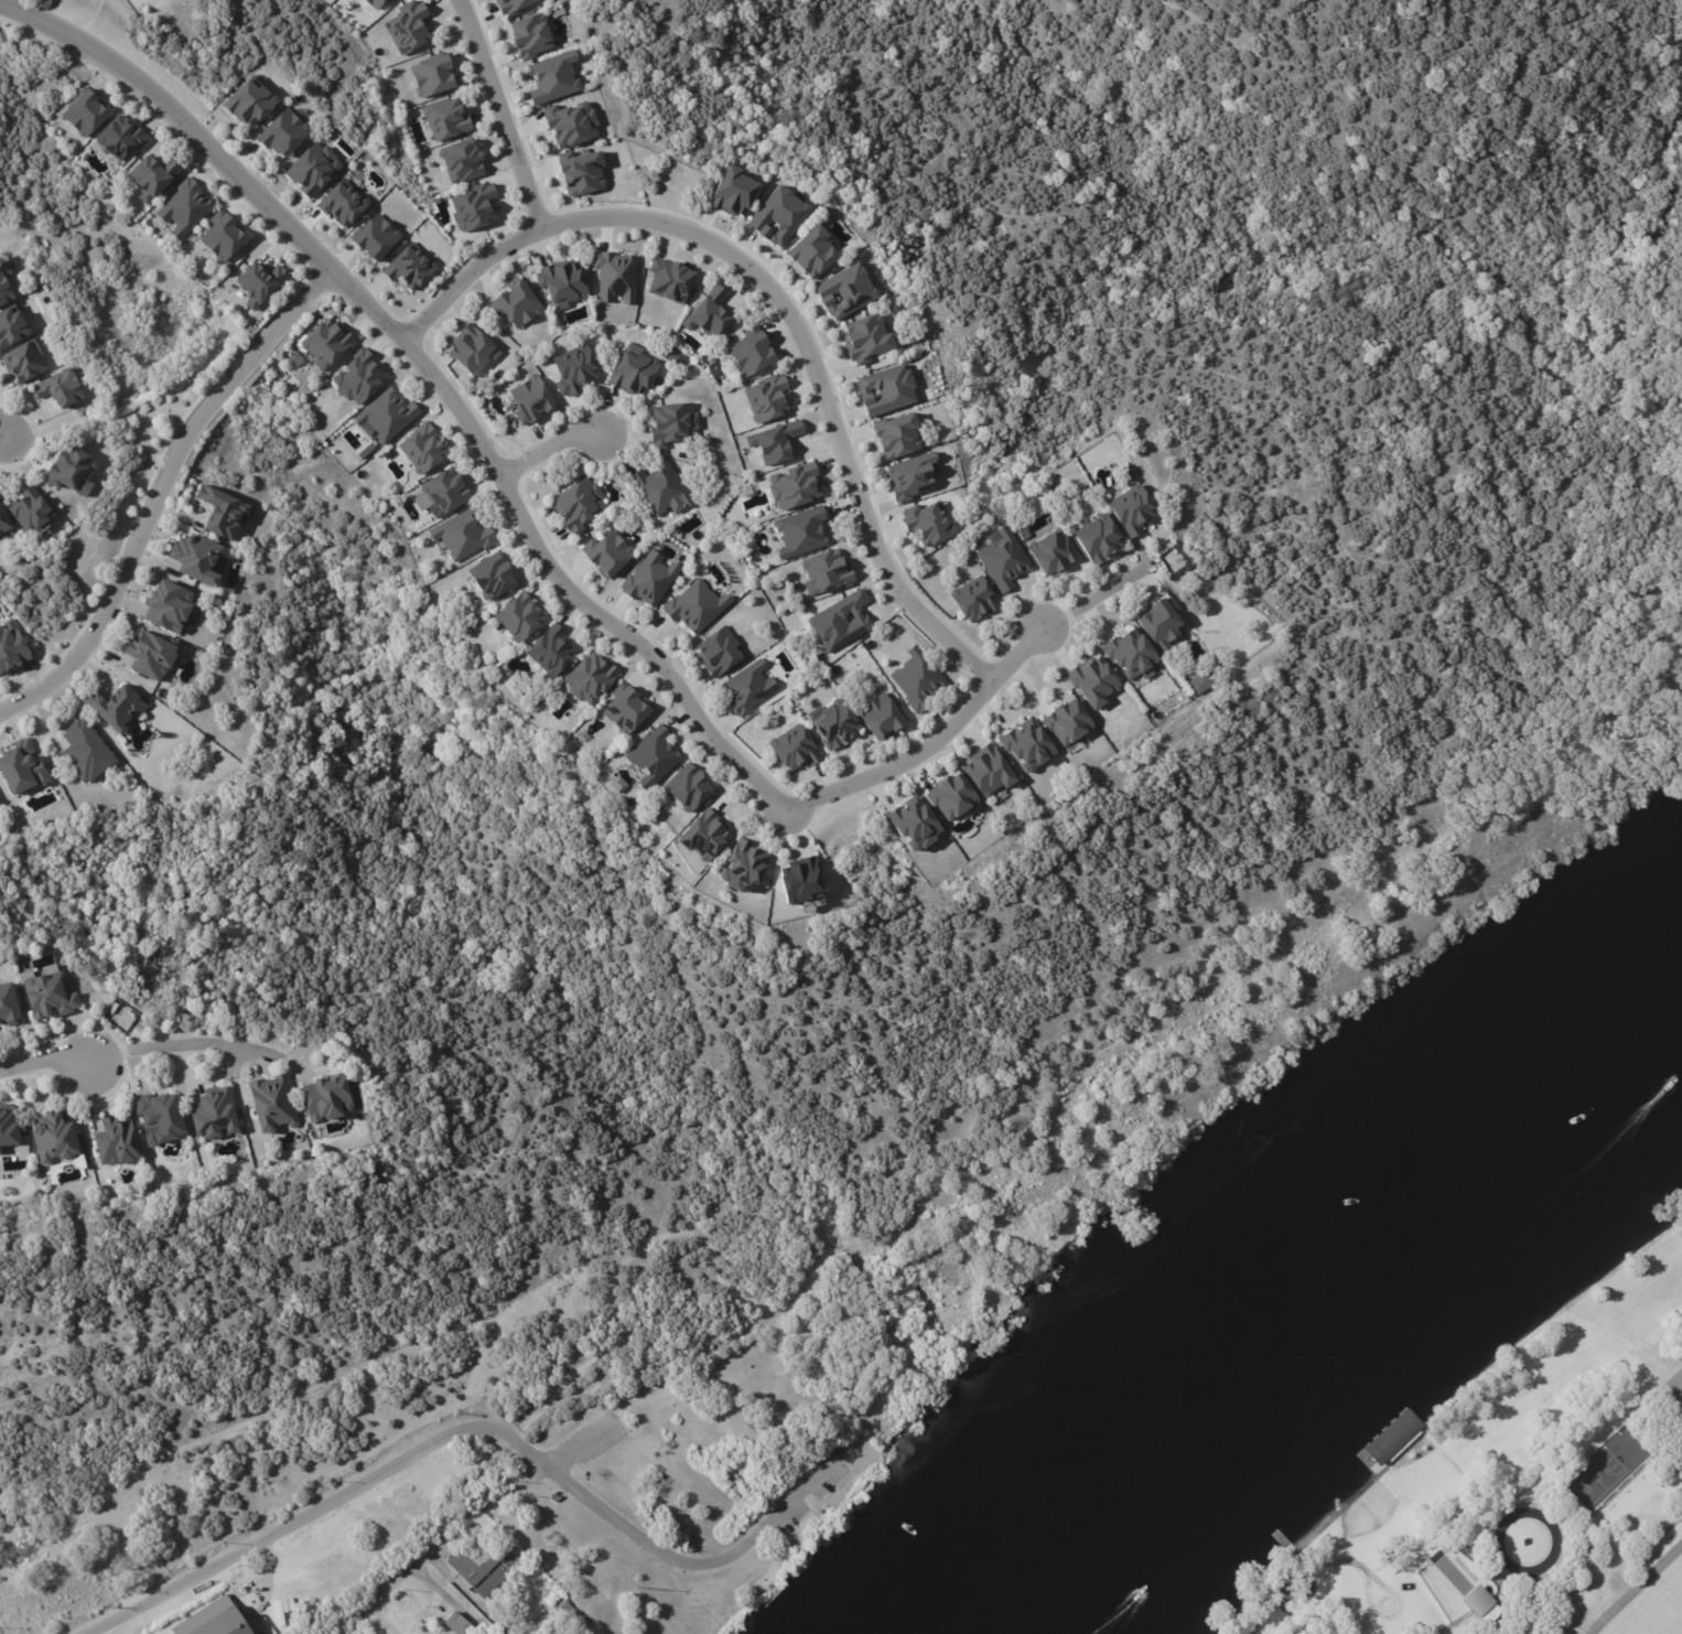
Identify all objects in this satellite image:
building: (375, 3)
building: (513, 4)
building: (408, 26)
building: (529, 35)
building: (3, 37)
building: (431, 75)
building: (552, 77)
building: (247, 99)
building: (84, 112)
road: (500, 112)
building: (445, 118)
building: (570, 122)
building: (282, 132)
building: (121, 136)
building: (461, 160)
building: (312, 166)
building: (578, 170)
building: (153, 173)
building: (732, 191)
building: (341, 202)
building: (183, 204)
building: (473, 206)
building: (777, 215)
building: (373, 236)
building: (222, 237)
building: (811, 252)
building: (414, 266)
building: (613, 275)
building: (668, 279)
building: (561, 281)
building: (258, 283)
building: (4, 286)
building: (843, 291)
road: (778, 301)
building: (515, 303)
building: (708, 314)
building: (12, 326)
building: (866, 340)
building: (325, 345)
building: (471, 351)
building: (750, 352)
building: (24, 361)
building: (574, 370)
building: (633, 372)
building: (358, 377)
building: (61, 387)
building: (884, 389)
building: (765, 398)
building: (529, 400)
building: (386, 416)
building: (672, 424)
road: (4, 437)
building: (896, 437)
building: (773, 441)
building: (421, 449)
road: (546, 450)
building: (72, 467)
building: (909, 476)
building: (793, 485)
building: (660, 490)
building: (442, 491)
road: (159, 492)
building: (0, 499)
building: (578, 505)
building: (31, 508)
building: (1132, 512)
building: (220, 513)
road: (517, 519)
building: (3, 520)
building: (929, 525)
building: (799, 531)
building: (461, 534)
building: (1099, 540)
building: (607, 555)
building: (1053, 555)
building: (1171, 557)
building: (195, 559)
building: (1003, 561)
building: (1178, 567)
building: (489, 574)
building: (827, 574)
building: (647, 578)
road: (1108, 590)
building: (974, 601)
building: (165, 608)
building: (694, 608)
building: (520, 619)
building: (839, 620)
building: (1162, 626)
building: (11, 647)
building: (718, 651)
building: (550, 653)
building: (148, 654)
building: (1131, 655)
building: (590, 679)
building: (917, 681)
building: (1199, 681)
building: (1093, 684)
building: (747, 686)
building: (115, 707)
building: (623, 709)
building: (882, 719)
building: (1066, 720)
building: (833, 723)
building: (1026, 745)
building: (794, 750)
building: (84, 751)
building: (649, 755)
building: (19, 770)
building: (989, 773)
building: (614, 782)
building: (687, 791)
building: (952, 799)
building: (658, 810)
building: (914, 827)
building: (701, 834)
building: (743, 871)
building: (800, 884)
building: (47, 998)
building: (8, 1007)
building: (119, 1018)
road: (197, 1044)
road: (61, 1060)
building: (324, 1103)
building: (270, 1106)
building: (211, 1111)
building: (158, 1117)
building: (8, 1129)
building: (53, 1140)
building: (115, 1143)
road: (921, 1218)
river: (1348, 1322)
building: (1369, 1452)
road: (582, 1488)
park: (1598, 1491)
park: (722, 1494)
road: (761, 1527)
road: (435, 1537)
road: (1554, 1541)
building: (514, 1557)
building: (478, 1571)
building: (1479, 1602)
track: (1652, 1606)
road: (1534, 1608)
park: (1656, 1609)
building: (570, 1616)
road: (354, 1619)
building: (214, 1620)
building: (455, 1624)

